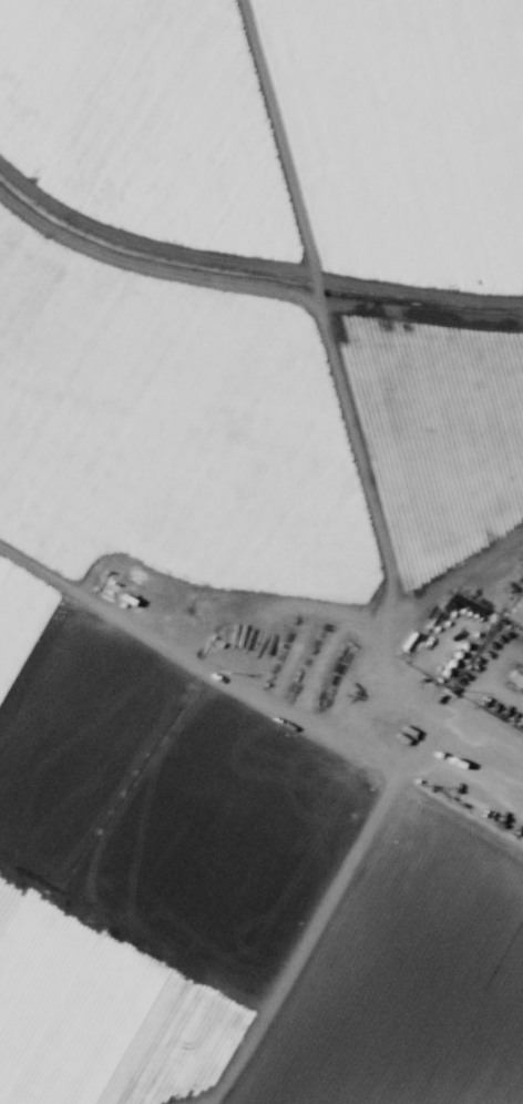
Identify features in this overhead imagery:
crop: (245, 539)
road: (441, 778)

